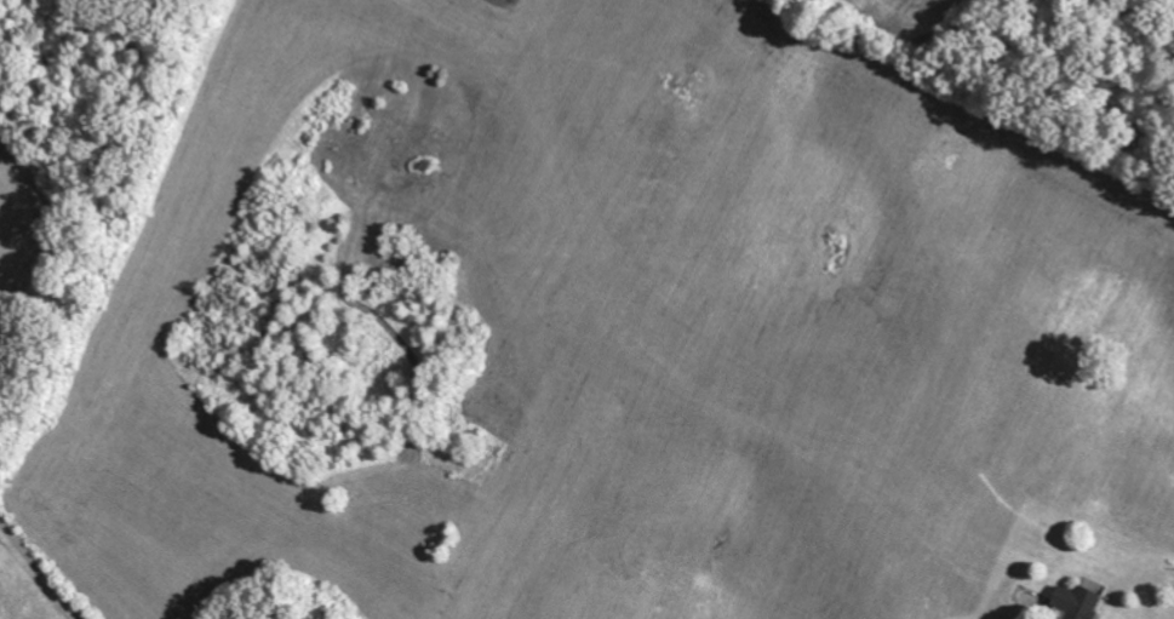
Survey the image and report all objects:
road: (40, 568)
building: (1082, 602)

